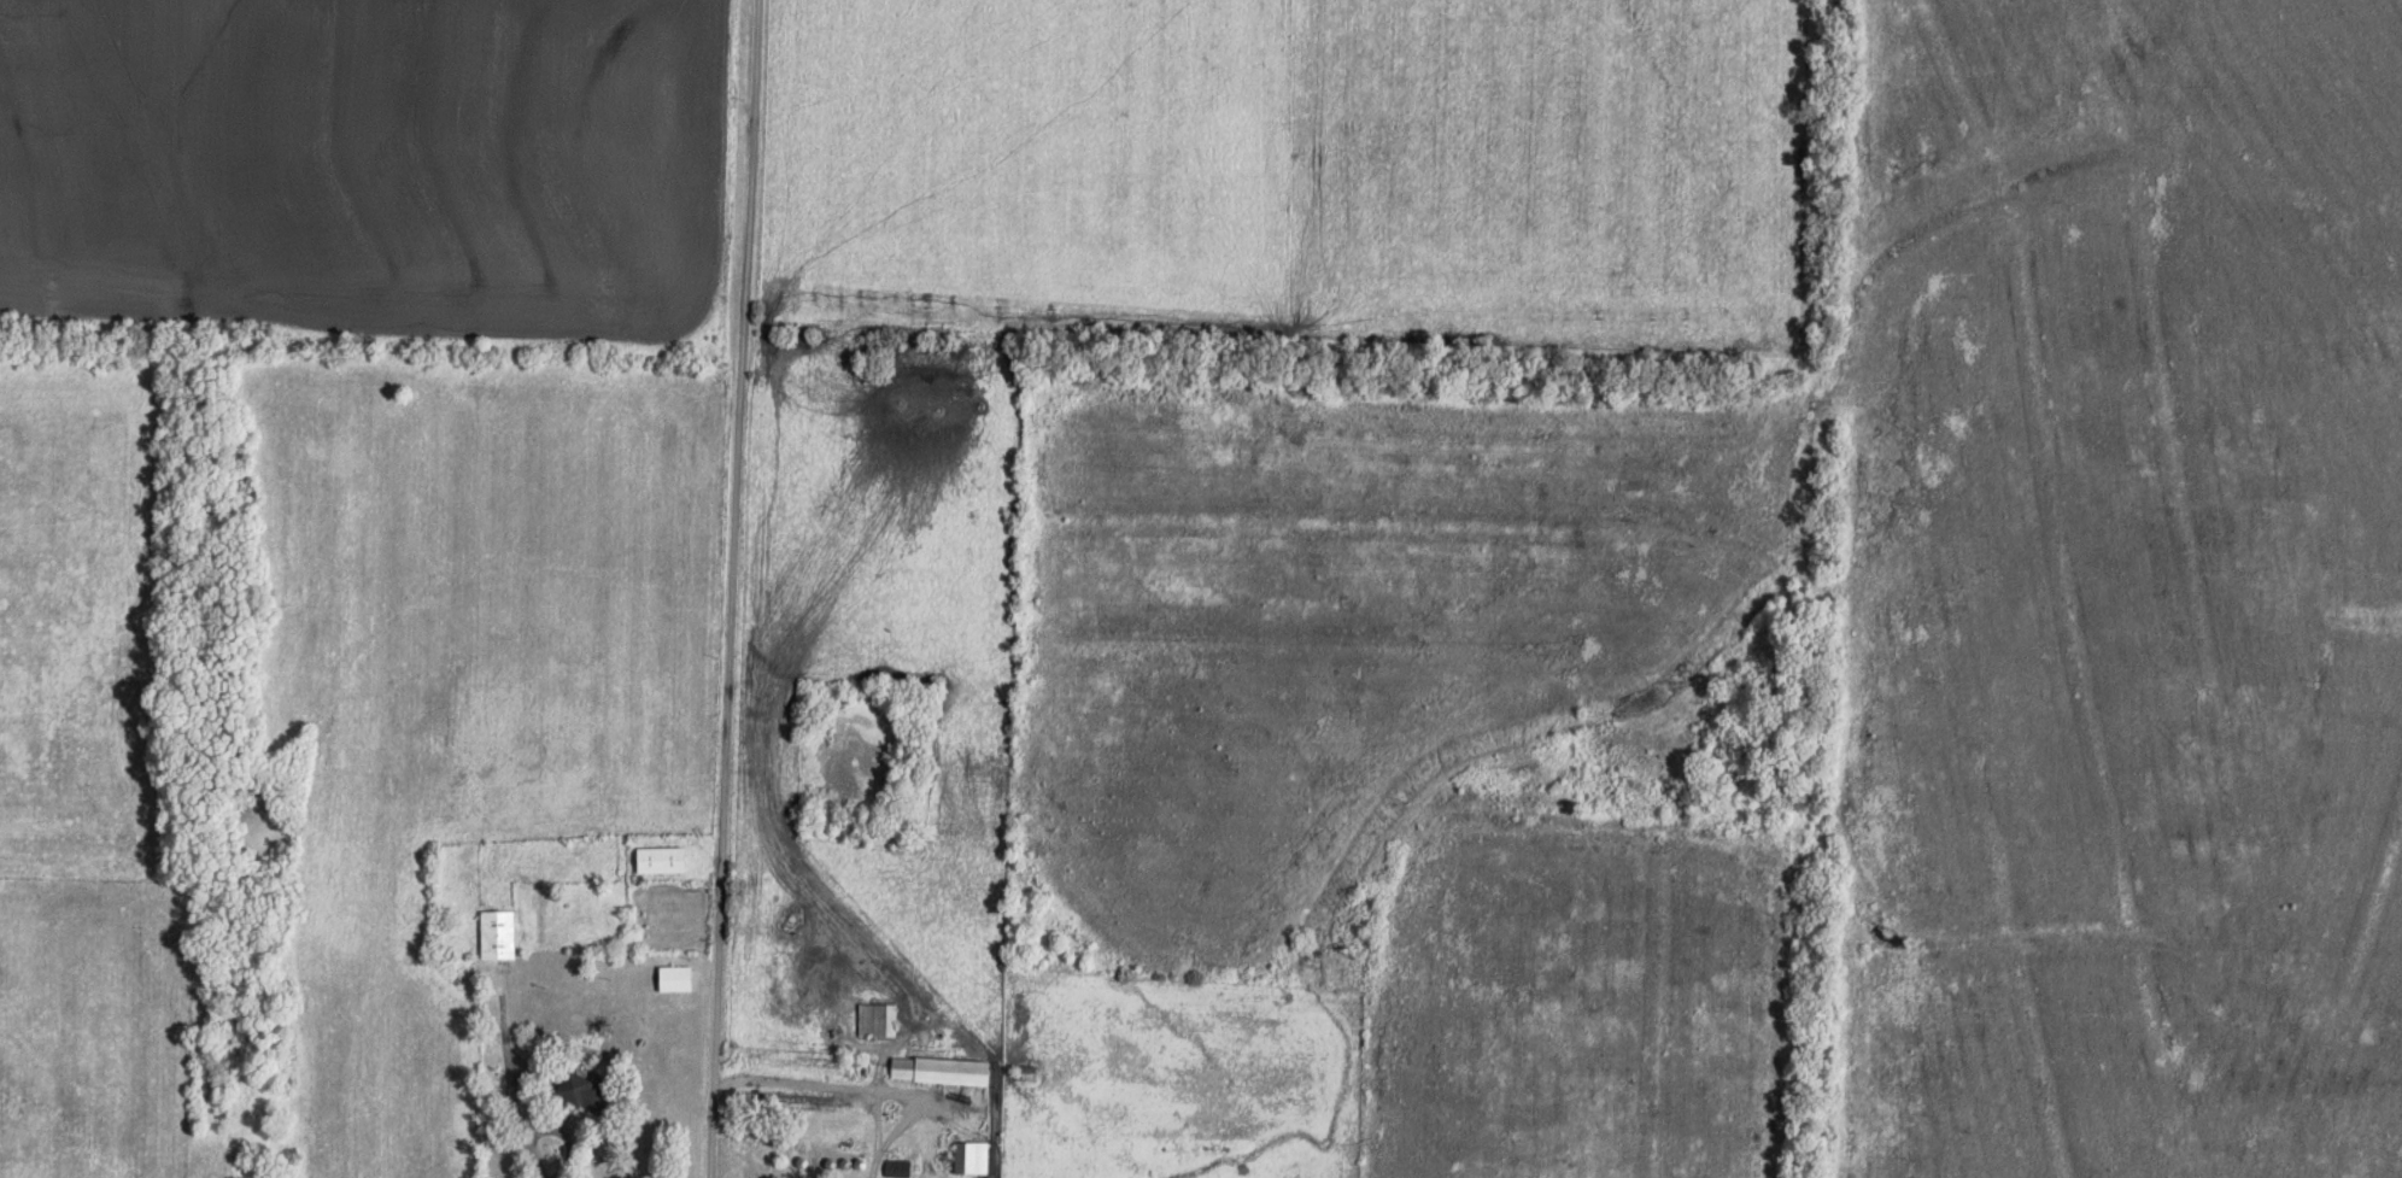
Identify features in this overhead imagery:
crop: (373, 166)
road: (730, 588)
building: (660, 860)
building: (498, 936)
building: (674, 979)
building: (877, 1021)
building: (938, 1072)
building: (1024, 1076)
building: (585, 1090)
road: (537, 1158)
building: (969, 1159)
building: (896, 1168)

